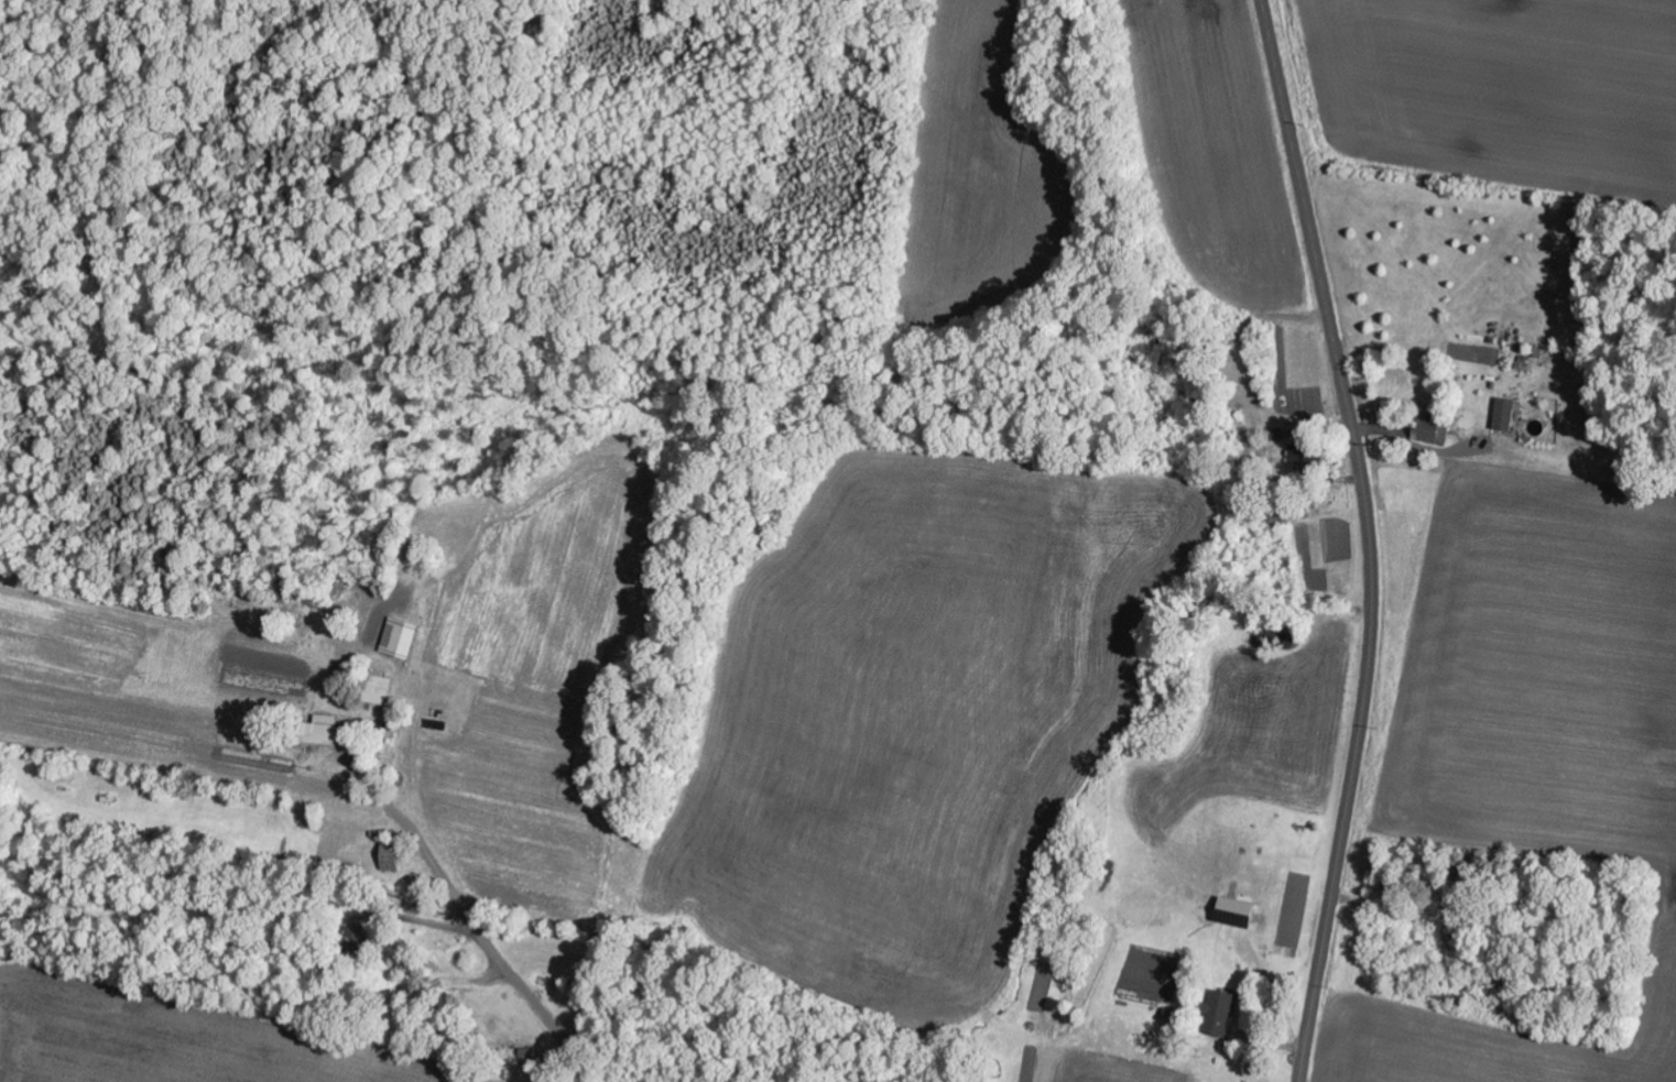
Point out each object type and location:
building: (1508, 414)
building: (1430, 430)
building: (1275, 440)
road: (1368, 538)
building: (402, 638)
building: (379, 690)
building: (324, 731)
building: (392, 856)
building: (1239, 914)
road: (521, 988)
building: (1221, 1014)

